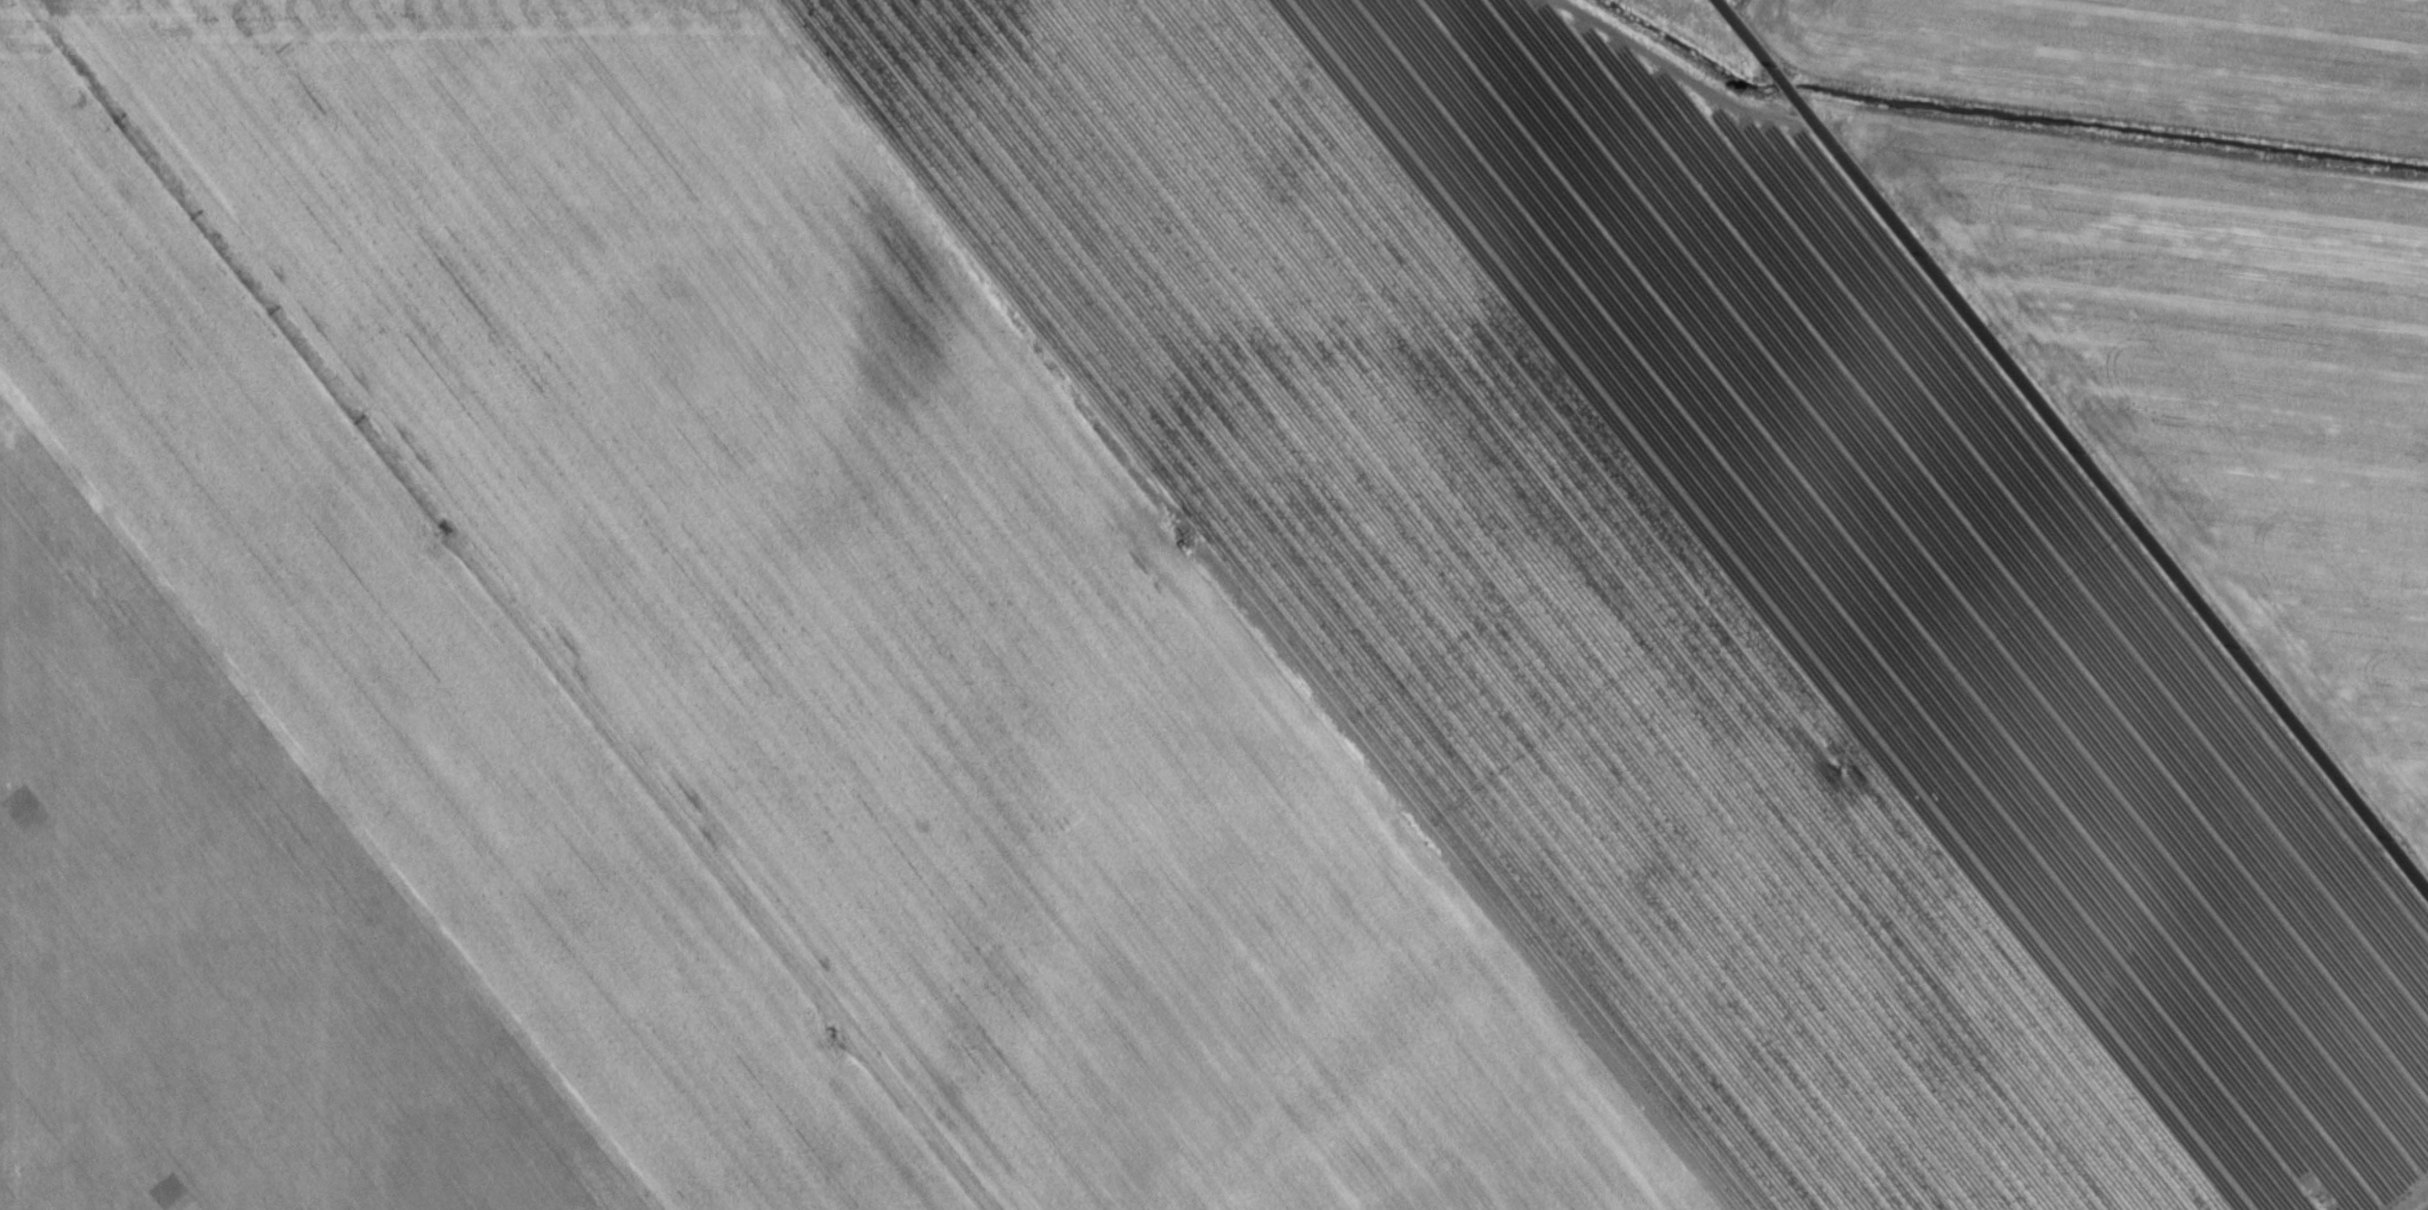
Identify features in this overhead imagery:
road: (2081, 439)

